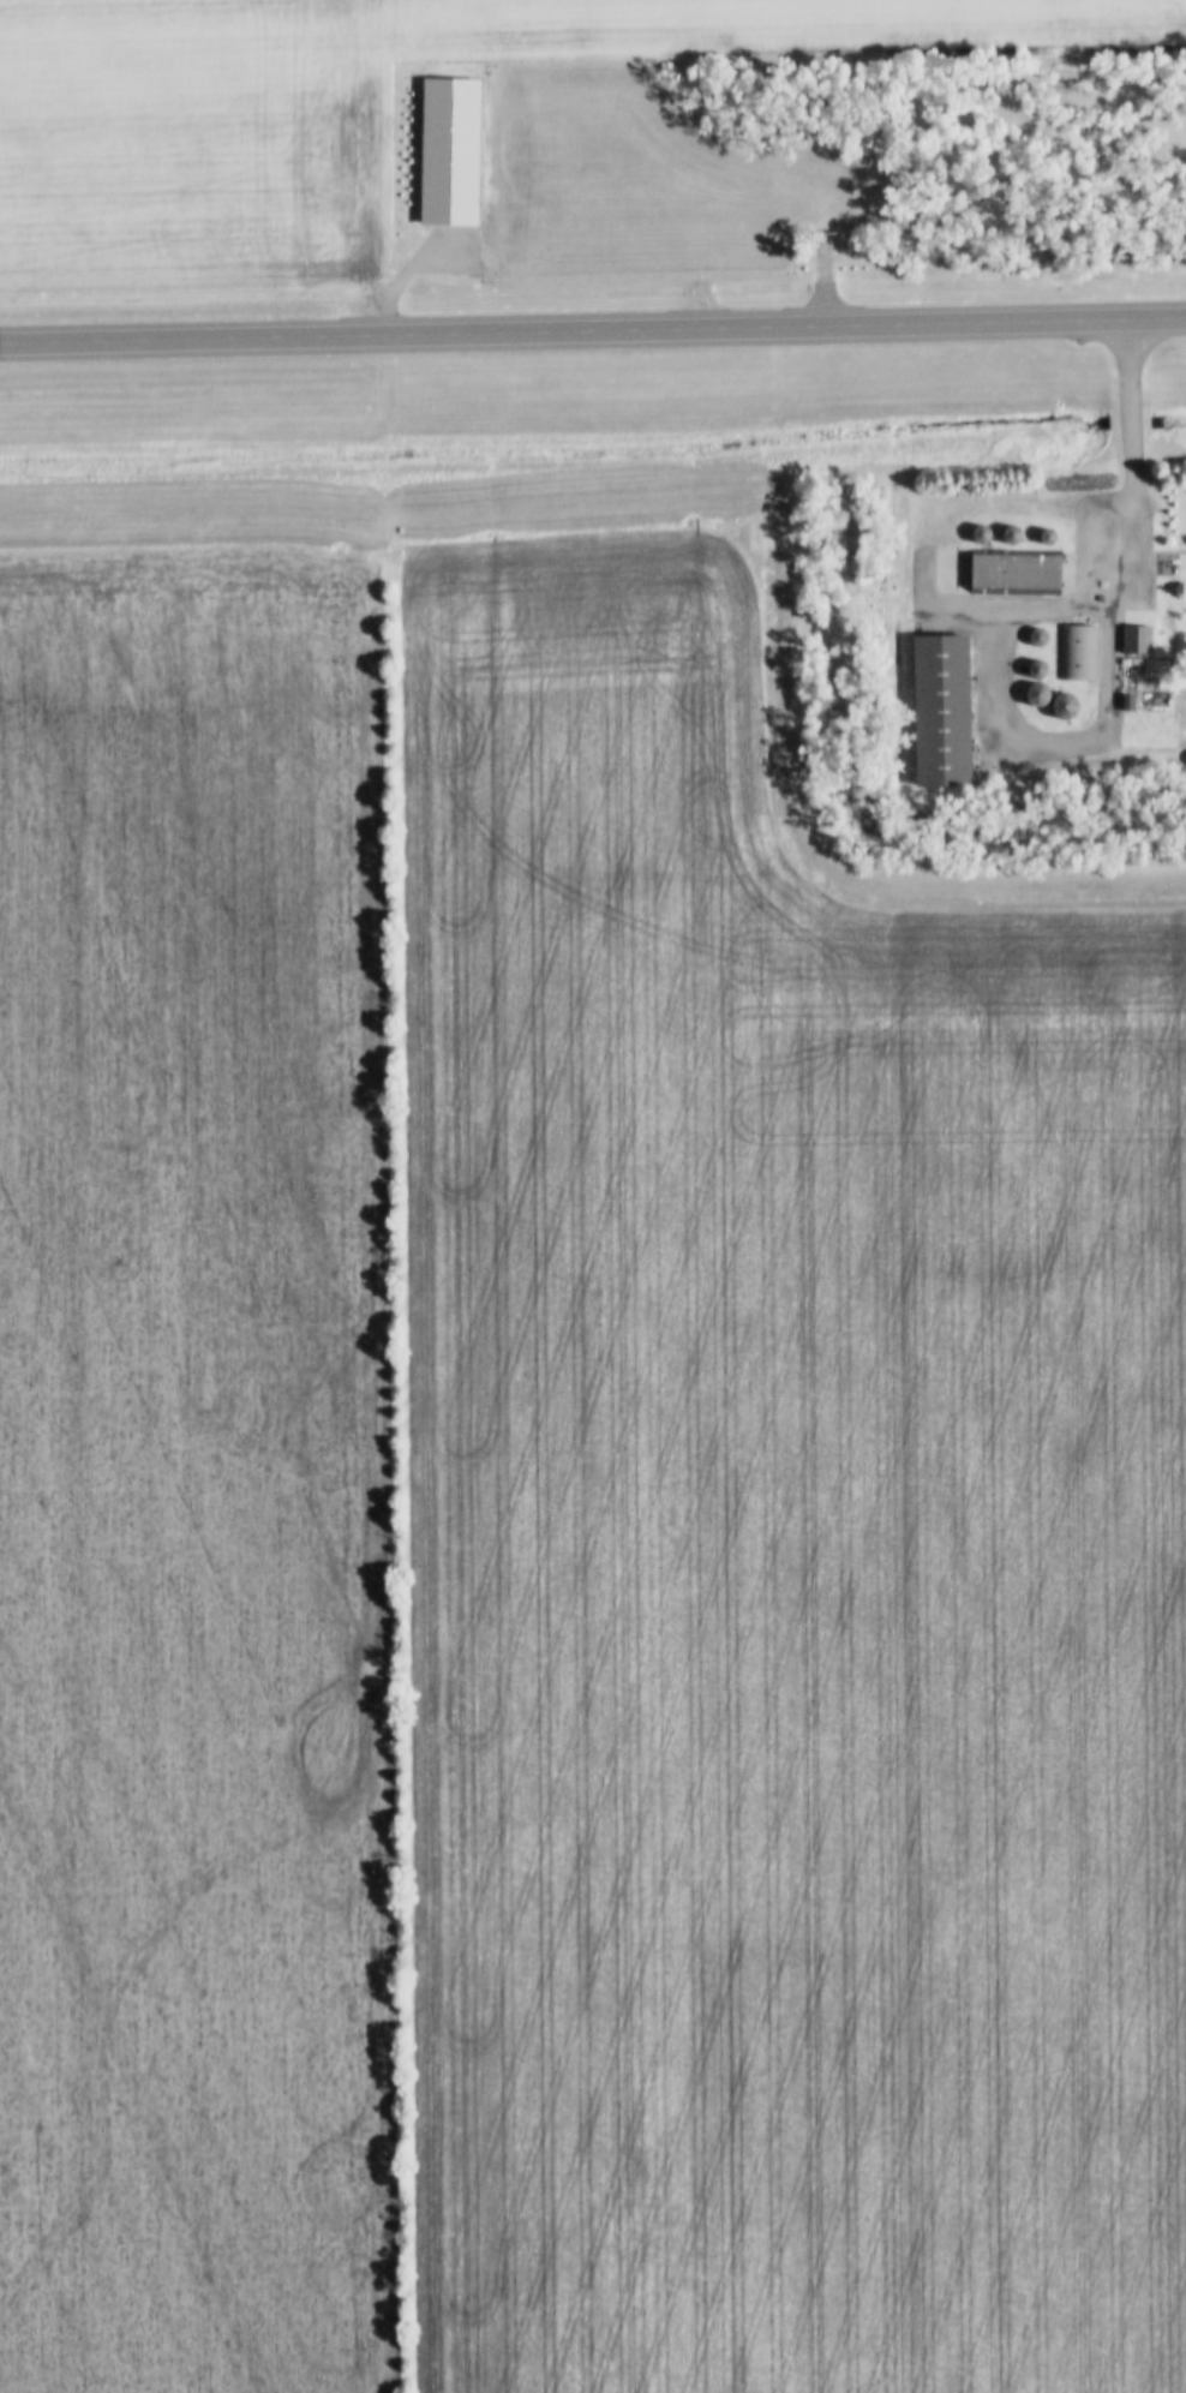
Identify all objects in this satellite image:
crop: (767, 30)
crop: (193, 142)
road: (593, 333)
road: (1132, 427)
building: (1095, 475)
building: (1007, 573)
building: (1131, 638)
building: (1074, 652)
building: (1055, 705)
building: (933, 708)
crop: (194, 1477)
crop: (775, 1551)

